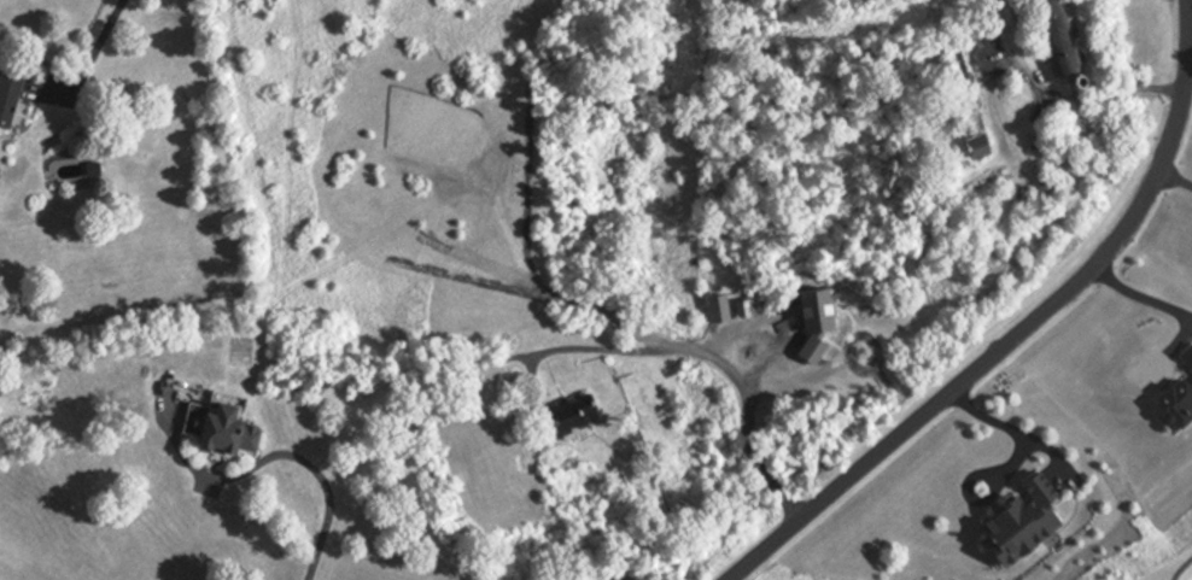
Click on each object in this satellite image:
building: (1012, 1)
building: (1053, 36)
road: (86, 63)
building: (6, 98)
building: (974, 145)
road: (1168, 183)
road: (1140, 293)
building: (714, 309)
building: (743, 309)
building: (813, 310)
road: (1010, 330)
road: (706, 353)
building: (568, 412)
building: (217, 424)
road: (1007, 426)
road: (306, 464)
building: (1019, 521)
park: (1151, 544)
park: (783, 573)

